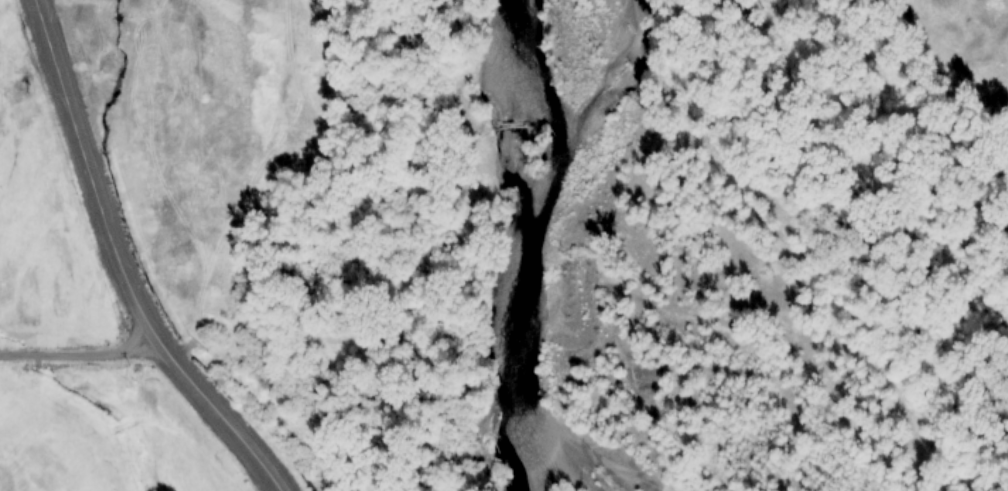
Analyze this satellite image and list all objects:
river: (539, 254)
road: (119, 265)

